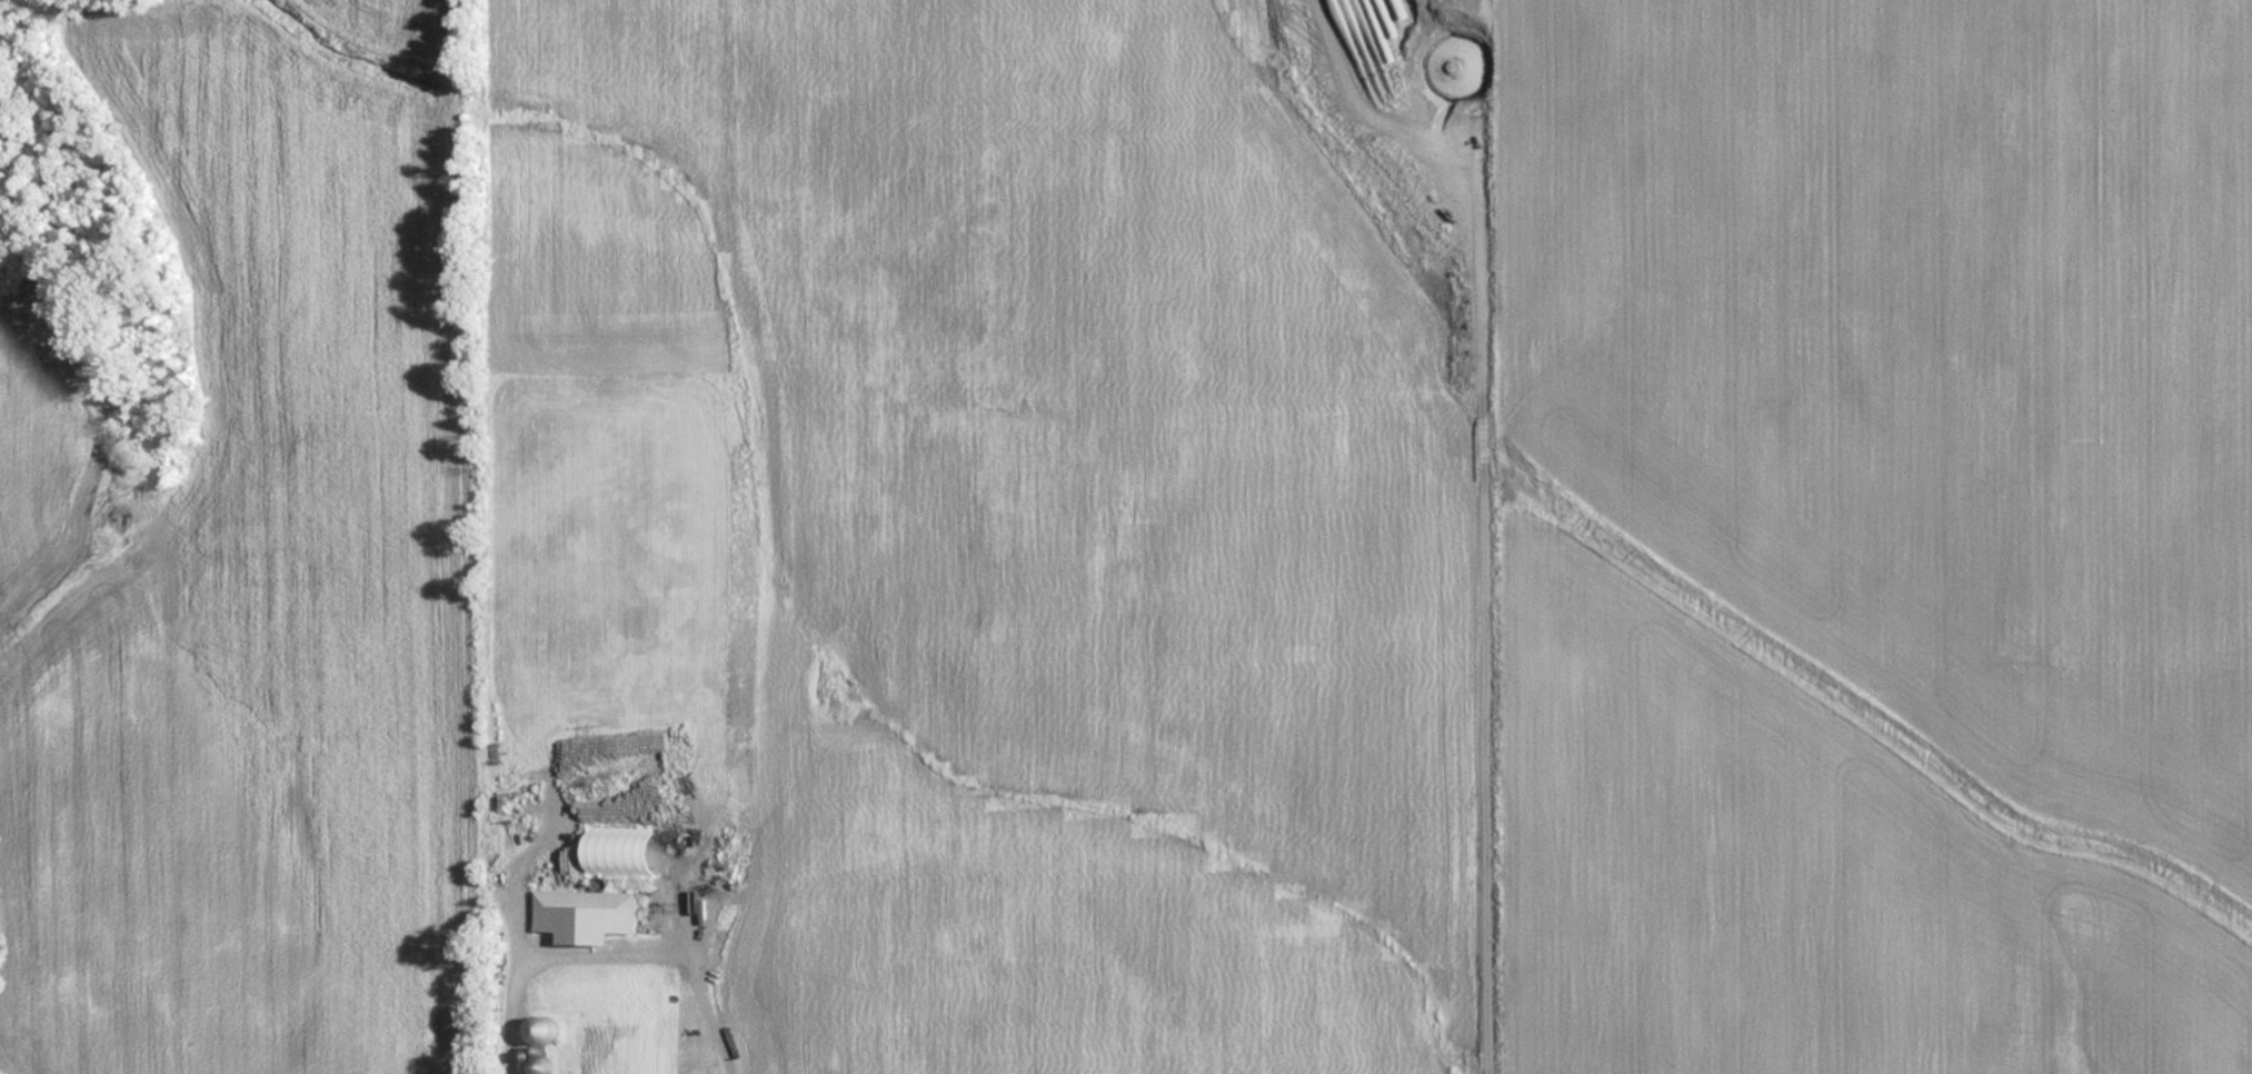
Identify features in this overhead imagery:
building: (578, 914)
road: (607, 951)
building: (536, 1028)
building: (537, 1065)

